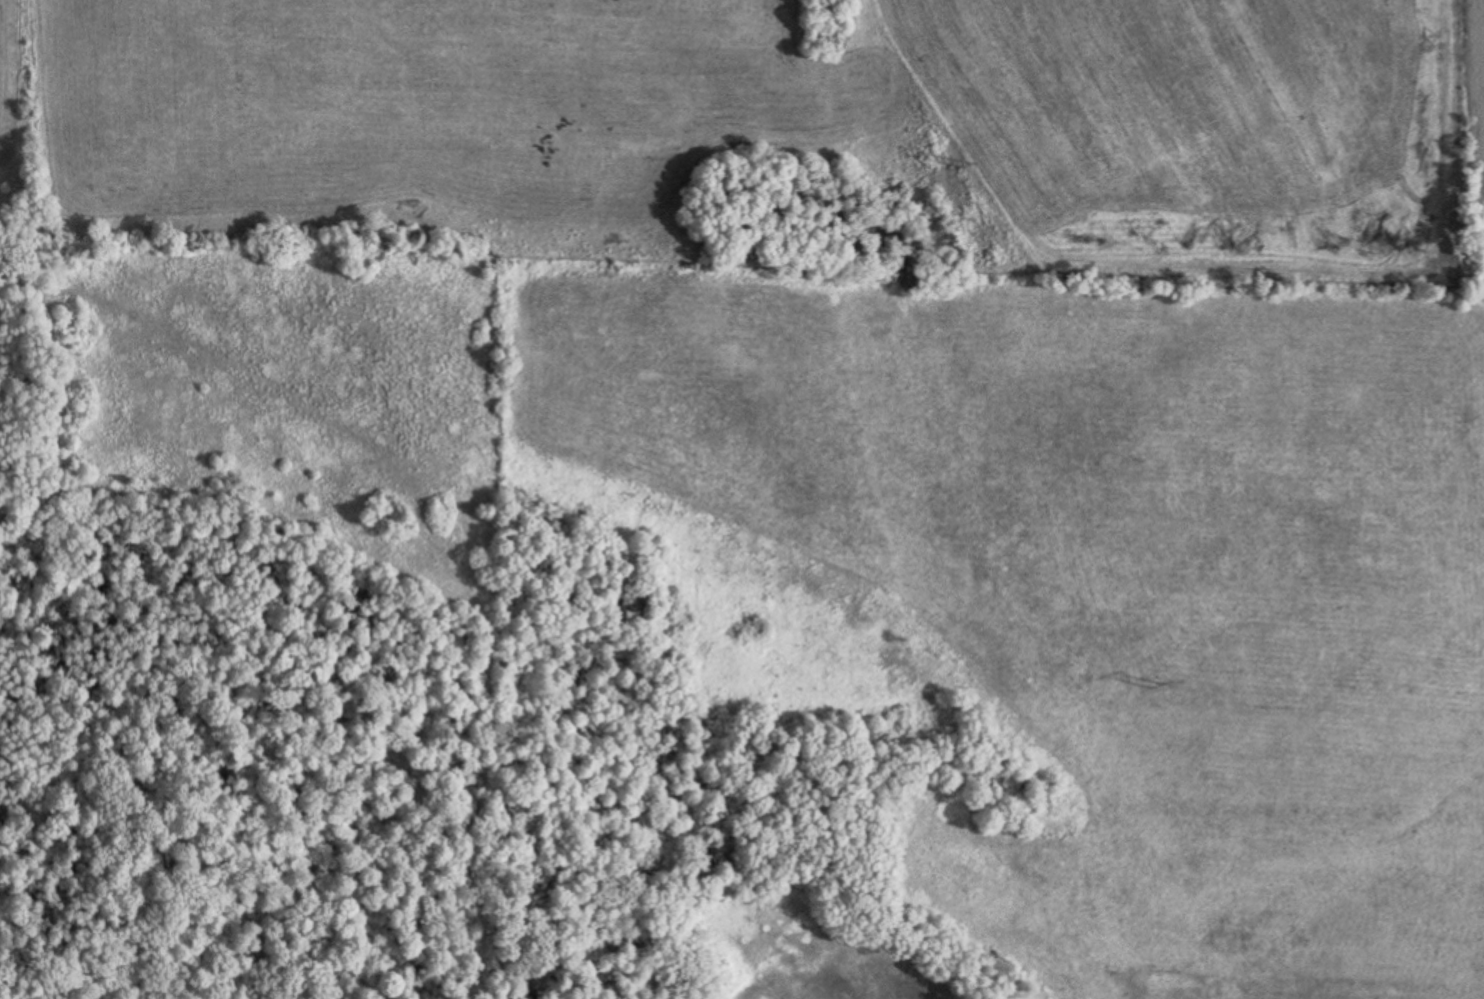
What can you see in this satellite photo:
power tower: (963, 163)
power tower: (1156, 685)

